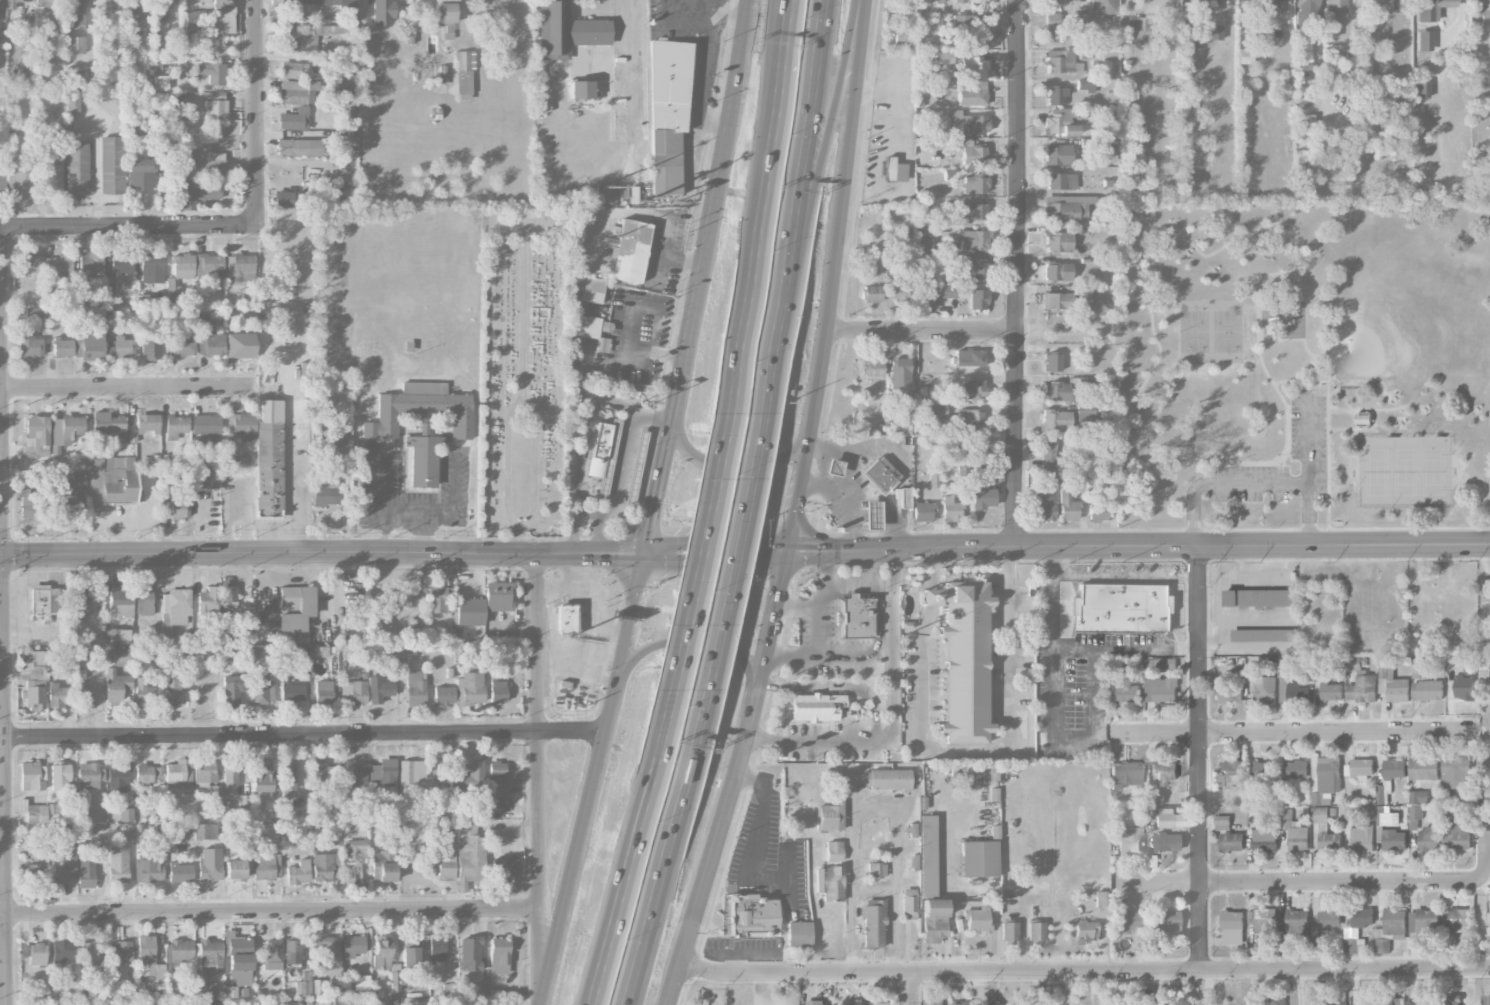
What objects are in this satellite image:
building: (962, 1)
building: (1070, 2)
building: (45, 3)
building: (160, 3)
building: (102, 4)
building: (327, 4)
building: (1268, 4)
building: (11, 5)
building: (1395, 5)
building: (223, 7)
building: (1103, 7)
building: (277, 9)
building: (382, 12)
building: (1305, 12)
building: (1481, 12)
building: (1334, 14)
building: (136, 15)
building: (445, 17)
building: (1079, 19)
building: (934, 22)
building: (962, 22)
building: (982, 22)
building: (1051, 22)
building: (196, 24)
building: (566, 30)
building: (1137, 30)
building: (1214, 32)
building: (901, 34)
building: (304, 37)
building: (74, 45)
road: (629, 51)
building: (1244, 56)
building: (943, 57)
building: (1344, 59)
building: (1364, 61)
building: (1062, 62)
building: (972, 67)
building: (464, 71)
building: (211, 72)
building: (80, 78)
building: (160, 82)
building: (295, 84)
building: (1086, 85)
building: (342, 87)
road: (769, 92)
building: (972, 93)
building: (1055, 95)
building: (176, 99)
building: (74, 102)
building: (214, 107)
road: (258, 113)
building: (667, 118)
building: (293, 119)
building: (1306, 120)
building: (1061, 122)
building: (966, 123)
building: (299, 147)
building: (970, 151)
building: (1057, 154)
building: (1109, 154)
road: (800, 160)
road: (819, 160)
building: (208, 163)
building: (111, 165)
building: (76, 168)
building: (894, 170)
building: (140, 176)
building: (950, 176)
building: (53, 179)
building: (19, 181)
building: (1062, 181)
building: (2, 183)
building: (975, 184)
building: (197, 192)
road: (761, 196)
building: (283, 199)
building: (1065, 209)
building: (967, 212)
road: (129, 227)
building: (973, 239)
road: (666, 241)
building: (1058, 242)
building: (924, 244)
building: (627, 252)
building: (151, 264)
building: (58, 265)
building: (121, 265)
building: (30, 266)
building: (90, 266)
building: (183, 266)
building: (209, 266)
building: (240, 268)
building: (976, 268)
road: (659, 270)
building: (1057, 271)
road: (1019, 272)
building: (586, 288)
building: (900, 289)
building: (945, 291)
building: (871, 293)
building: (977, 299)
building: (1057, 300)
building: (604, 326)
building: (587, 327)
park: (1380, 330)
road: (925, 331)
park: (1194, 331)
park: (1227, 331)
building: (208, 338)
building: (92, 344)
building: (183, 344)
building: (29, 345)
building: (240, 345)
building: (602, 345)
building: (109, 346)
building: (62, 347)
building: (123, 347)
building: (969, 358)
building: (1052, 362)
road: (769, 363)
park: (1304, 364)
building: (873, 367)
park: (523, 368)
building: (899, 372)
road: (1299, 383)
road: (1309, 386)
road: (129, 388)
building: (973, 389)
building: (1056, 391)
building: (907, 403)
building: (420, 409)
road: (1374, 409)
building: (936, 410)
building: (300, 415)
road: (653, 415)
road: (1328, 415)
road: (1318, 418)
building: (1364, 419)
building: (970, 420)
building: (1055, 420)
building: (147, 423)
building: (108, 424)
building: (205, 424)
parking lot: (1309, 424)
building: (175, 426)
building: (241, 427)
road: (1360, 428)
building: (66, 429)
road: (580, 439)
building: (342, 442)
road: (1170, 447)
road: (1356, 448)
building: (602, 454)
building: (230, 458)
building: (269, 459)
building: (1048, 459)
building: (422, 460)
road: (621, 464)
road: (733, 464)
road: (1309, 465)
building: (833, 467)
gas station: (833, 467)
road: (1342, 467)
building: (635, 468)
road: (1281, 470)
park: (1376, 471)
park: (1405, 471)
park: (1433, 471)
building: (204, 473)
building: (324, 473)
building: (934, 474)
building: (879, 476)
building: (78, 477)
building: (111, 477)
road: (1223, 483)
road: (1342, 484)
building: (167, 486)
road: (290, 487)
building: (982, 488)
building: (326, 492)
building: (63, 493)
building: (903, 497)
road: (653, 504)
building: (1043, 504)
building: (1067, 505)
building: (31, 506)
road: (796, 508)
building: (179, 509)
building: (950, 510)
building: (1097, 511)
building: (921, 512)
building: (871, 514)
gas station: (871, 514)
road: (403, 519)
road: (576, 525)
road: (598, 534)
road: (701, 541)
road: (1138, 545)
road: (733, 550)
traffic signals: (788, 550)
traffic signals: (642, 553)
road: (394, 554)
road: (862, 567)
road: (932, 568)
road: (824, 569)
road: (1125, 575)
building: (1486, 589)
building: (406, 593)
building: (228, 595)
building: (498, 596)
road: (931, 597)
building: (1258, 597)
building: (440, 599)
building: (39, 600)
building: (53, 600)
building: (80, 601)
building: (143, 601)
building: (121, 602)
building: (209, 603)
road: (796, 606)
building: (1119, 608)
building: (174, 611)
road: (877, 612)
building: (294, 614)
road: (4, 616)
building: (853, 616)
building: (566, 618)
building: (1264, 634)
building: (445, 635)
building: (112, 636)
building: (95, 638)
road: (688, 641)
road: (1071, 650)
building: (152, 655)
building: (121, 658)
building: (962, 660)
building: (1156, 662)
building: (1170, 662)
building: (34, 681)
building: (1361, 681)
building: (1393, 683)
building: (1426, 684)
building: (1292, 685)
building: (115, 686)
building: (1263, 686)
building: (233, 687)
building: (414, 687)
building: (472, 687)
building: (1465, 687)
building: (1123, 688)
building: (378, 689)
building: (1162, 689)
building: (174, 691)
building: (497, 691)
building: (1332, 691)
building: (83, 692)
building: (144, 692)
building: (263, 692)
building: (292, 692)
building: (353, 692)
building: (323, 693)
building: (58, 695)
building: (443, 695)
building: (812, 706)
road: (877, 724)
road: (1296, 730)
road: (301, 733)
road: (1074, 737)
road: (995, 750)
road: (1198, 756)
building: (1485, 764)
building: (1298, 768)
building: (1362, 768)
building: (1395, 768)
building: (1424, 768)
building: (496, 769)
building: (1264, 769)
building: (1455, 769)
building: (1165, 771)
building: (382, 773)
building: (458, 773)
building: (1124, 773)
building: (147, 774)
building: (179, 774)
building: (204, 774)
building: (412, 774)
building: (1230, 774)
building: (87, 775)
building: (230, 775)
building: (32, 776)
building: (261, 776)
building: (358, 776)
building: (60, 777)
building: (117, 777)
road: (541, 779)
building: (888, 779)
building: (1326, 779)
building: (288, 780)
building: (1488, 788)
building: (1383, 794)
building: (1418, 796)
building: (1154, 797)
building: (216, 800)
building: (244, 801)
building: (495, 805)
building: (36, 814)
building: (126, 814)
building: (828, 817)
building: (1415, 817)
building: (1167, 818)
road: (876, 820)
building: (1223, 822)
building: (1380, 822)
road: (1488, 824)
building: (1325, 829)
building: (207, 831)
building: (1294, 831)
building: (1358, 831)
building: (1458, 834)
building: (1429, 838)
building: (1129, 839)
building: (1394, 839)
building: (1265, 840)
building: (1232, 841)
building: (1166, 842)
building: (35, 848)
road: (631, 848)
road: (665, 850)
building: (833, 851)
building: (470, 853)
building: (928, 855)
building: (978, 858)
building: (355, 859)
building: (265, 863)
building: (118, 864)
building: (210, 865)
building: (382, 865)
building: (61, 866)
building: (325, 866)
building: (445, 866)
building: (150, 867)
building: (502, 868)
building: (876, 869)
building: (86, 870)
building: (238, 870)
building: (34, 872)
building: (180, 872)
building: (299, 872)
road: (1050, 878)
road: (1321, 880)
building: (829, 883)
road: (959, 893)
road: (811, 894)
building: (1099, 900)
building: (908, 904)
road: (270, 912)
building: (752, 916)
building: (1331, 918)
building: (1265, 919)
building: (1457, 919)
building: (934, 920)
building: (977, 920)
building: (1166, 921)
building: (1297, 921)
building: (1424, 921)
building: (1126, 922)
building: (1489, 922)
building: (872, 923)
building: (1393, 923)
building: (1233, 927)
building: (1358, 930)
building: (1009, 931)
building: (1035, 931)
building: (1084, 931)
building: (1316, 933)
building: (798, 935)
building: (1384, 945)
building: (352, 946)
building: (436, 948)
building: (273, 949)
building: (64, 950)
building: (145, 950)
building: (120, 951)
building: (292, 951)
building: (34, 953)
building: (87, 953)
building: (329, 953)
building: (381, 954)
building: (409, 954)
building: (469, 954)
building: (498, 955)
building: (173, 956)
building: (208, 957)
building: (239, 958)
road: (1083, 969)
building: (394, 981)
building: (304, 985)
building: (317, 986)
road: (979, 987)
road: (912, 988)
building: (203, 989)
building: (1389, 1000)
building: (1486, 1000)
building: (883, 1001)
building: (934, 1001)
building: (1279, 1001)
building: (1451, 1001)
building: (354, 1002)
building: (816, 1002)
building: (1413, 1002)
building: (962, 1003)
building: (208, 1004)
building: (859, 1004)
building: (999, 1004)
building: (1020, 1004)

